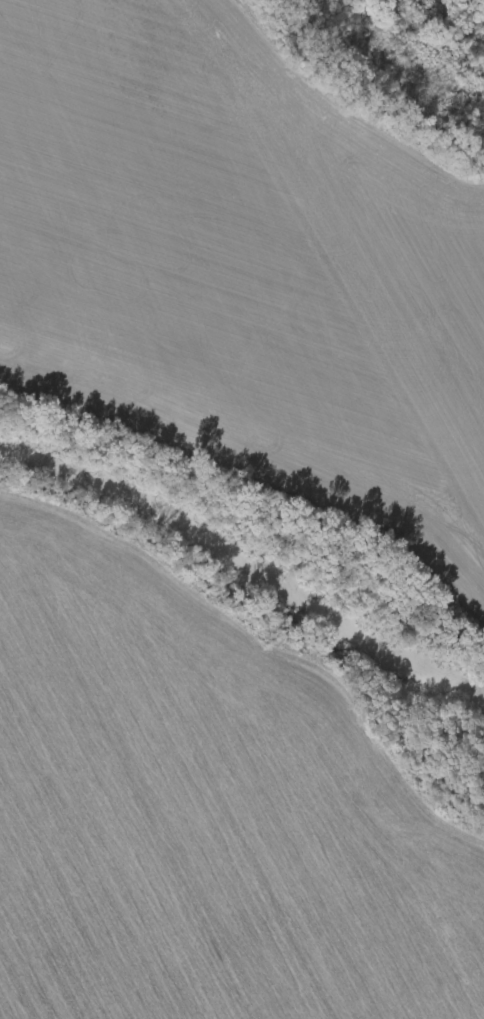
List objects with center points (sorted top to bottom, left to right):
crop: (243, 264)

